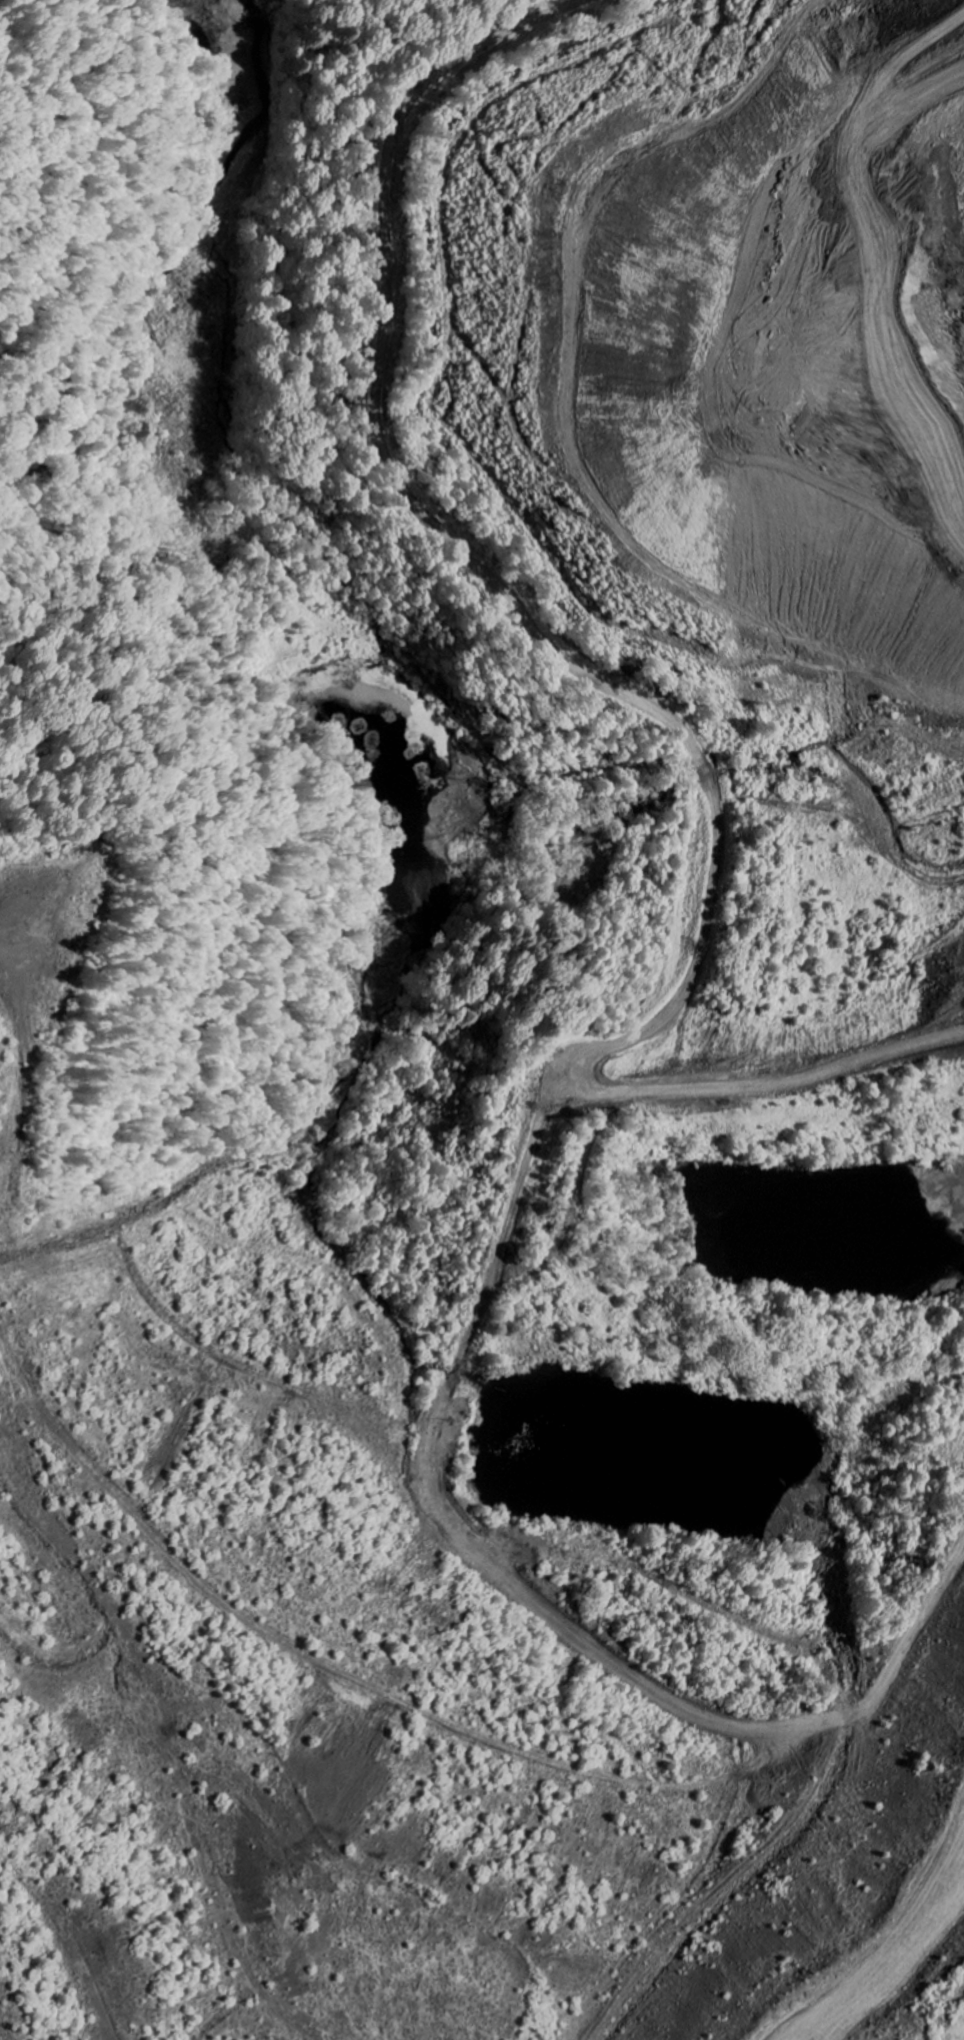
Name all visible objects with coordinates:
quarry: (508, 1103)

